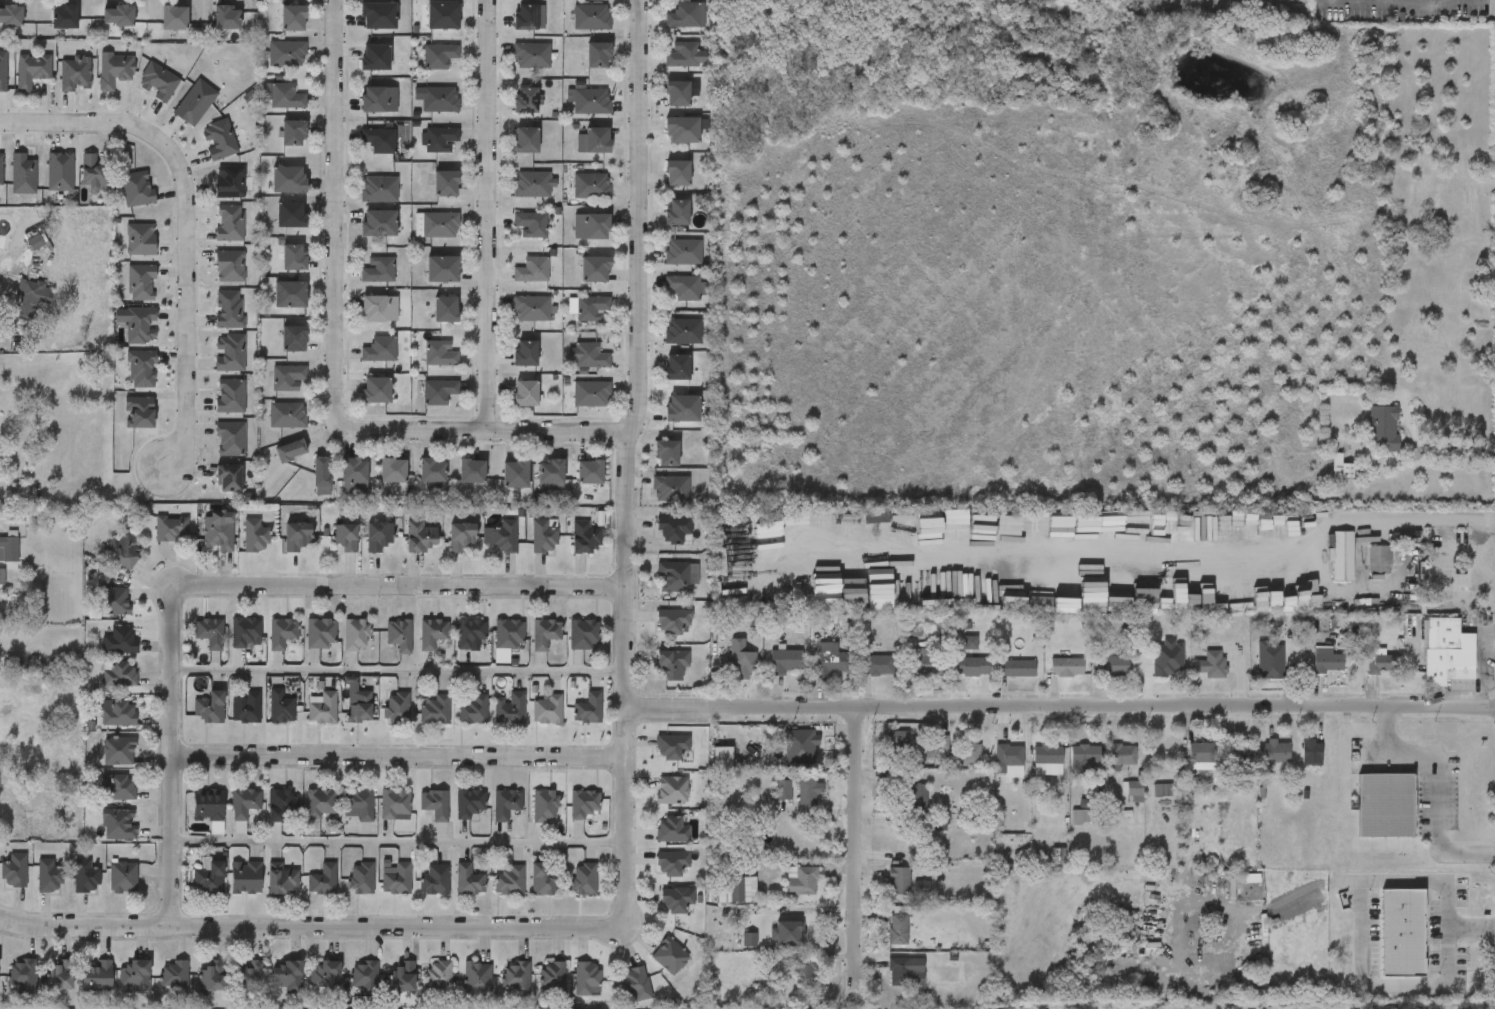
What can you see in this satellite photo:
building: (1414, 0)
building: (668, 1)
building: (10, 15)
building: (117, 15)
building: (378, 15)
building: (685, 15)
building: (64, 16)
building: (442, 16)
building: (524, 16)
building: (591, 16)
building: (173, 17)
building: (226, 17)
building: (292, 18)
building: (3, 27)
building: (363, 27)
building: (670, 27)
building: (103, 28)
building: (427, 28)
building: (49, 29)
building: (575, 29)
building: (159, 30)
building: (210, 30)
building: (277, 30)
building: (286, 53)
building: (438, 55)
building: (531, 55)
building: (597, 55)
building: (685, 55)
building: (375, 57)
building: (270, 66)
building: (582, 67)
building: (669, 67)
building: (423, 68)
building: (516, 68)
building: (31, 69)
building: (114, 69)
building: (359, 70)
building: (99, 82)
building: (16, 83)
building: (60, 85)
building: (677, 94)
building: (142, 95)
building: (285, 96)
building: (378, 99)
building: (439, 99)
building: (525, 100)
building: (590, 101)
building: (661, 106)
building: (268, 108)
building: (421, 111)
building: (363, 112)
building: (510, 113)
building: (573, 113)
building: (179, 115)
building: (681, 130)
building: (293, 133)
building: (439, 139)
building: (378, 140)
building: (525, 140)
building: (597, 140)
building: (666, 142)
building: (277, 145)
building: (423, 151)
building: (204, 152)
building: (363, 152)
building: (510, 152)
building: (577, 153)
building: (91, 171)
building: (677, 173)
building: (287, 179)
building: (446, 183)
building: (44, 184)
building: (531, 184)
building: (591, 185)
building: (661, 185)
building: (9, 187)
building: (77, 188)
building: (379, 189)
building: (272, 192)
building: (215, 194)
building: (430, 196)
building: (517, 196)
building: (575, 198)
building: (121, 202)
building: (363, 202)
building: (676, 212)
building: (1418, 212)
road: (335, 214)
building: (290, 215)
road: (488, 215)
building: (378, 223)
building: (530, 224)
building: (661, 224)
building: (440, 225)
building: (591, 226)
road: (191, 227)
building: (275, 227)
building: (214, 236)
building: (363, 236)
building: (515, 236)
building: (424, 237)
building: (575, 239)
building: (125, 252)
building: (682, 252)
building: (293, 257)
building: (667, 264)
building: (278, 269)
building: (442, 269)
building: (595, 269)
building: (377, 270)
building: (532, 270)
building: (214, 278)
building: (426, 281)
building: (578, 281)
building: (363, 282)
building: (516, 282)
building: (682, 287)
building: (125, 294)
building: (289, 294)
building: (31, 296)
building: (670, 300)
building: (274, 306)
building: (378, 308)
building: (531, 308)
building: (591, 308)
building: (445, 309)
building: (516, 320)
building: (576, 320)
building: (213, 321)
building: (363, 321)
building: (430, 321)
building: (683, 331)
building: (124, 337)
building: (293, 339)
building: (667, 343)
building: (379, 349)
building: (277, 350)
building: (440, 353)
building: (525, 353)
building: (586, 355)
building: (364, 362)
building: (214, 365)
building: (509, 365)
building: (424, 366)
building: (676, 367)
building: (571, 369)
building: (287, 377)
building: (661, 379)
building: (126, 381)
building: (272, 390)
building: (375, 390)
building: (438, 391)
building: (591, 393)
building: (525, 394)
building: (360, 402)
building: (423, 404)
building: (510, 405)
building: (575, 406)
building: (215, 408)
building: (681, 408)
building: (287, 415)
building: (666, 420)
building: (125, 424)
building: (272, 427)
building: (1383, 427)
road: (483, 429)
building: (1367, 439)
building: (214, 451)
building: (290, 451)
building: (666, 453)
building: (275, 463)
building: (650, 465)
building: (1340, 467)
building: (392, 471)
building: (431, 471)
building: (471, 471)
building: (589, 472)
building: (321, 473)
building: (515, 473)
building: (550, 473)
building: (354, 476)
building: (1324, 479)
building: (377, 482)
building: (416, 482)
building: (456, 483)
building: (574, 484)
building: (500, 486)
building: (338, 487)
building: (535, 487)
building: (306, 488)
building: (518, 488)
building: (669, 489)
building: (210, 490)
building: (652, 500)
building: (6, 501)
building: (171, 527)
building: (674, 529)
building: (217, 533)
building: (463, 536)
building: (503, 536)
building: (544, 536)
building: (255, 537)
building: (296, 537)
building: (344, 537)
building: (378, 537)
building: (419, 537)
building: (585, 537)
road: (1449, 539)
building: (155, 540)
building: (658, 540)
road: (1477, 541)
building: (1120, 542)
building: (203, 543)
building: (446, 547)
building: (239, 548)
building: (281, 548)
building: (362, 548)
building: (486, 548)
building: (527, 548)
building: (122, 549)
building: (404, 549)
building: (569, 549)
building: (8, 550)
building: (329, 550)
road: (1131, 550)
building: (1342, 556)
building: (1378, 560)
building: (108, 562)
building: (1326, 568)
building: (1362, 572)
building: (677, 576)
building: (1, 577)
road: (398, 587)
building: (661, 588)
building: (1161, 591)
building: (1196, 598)
building: (113, 601)
building: (1175, 608)
building: (100, 613)
building: (673, 619)
building: (244, 631)
building: (469, 631)
building: (657, 632)
building: (209, 633)
building: (281, 633)
building: (432, 633)
building: (321, 634)
building: (509, 634)
building: (545, 634)
building: (583, 634)
building: (355, 635)
building: (399, 635)
building: (118, 641)
building: (230, 644)
building: (454, 644)
building: (194, 645)
building: (266, 645)
building: (305, 645)
building: (416, 645)
building: (340, 646)
building: (493, 646)
building: (529, 646)
building: (567, 646)
building: (383, 647)
building: (104, 653)
building: (830, 659)
building: (741, 661)
building: (785, 661)
building: (1117, 661)
building: (1329, 663)
building: (1431, 663)
building: (671, 664)
building: (930, 664)
building: (1211, 664)
building: (879, 665)
building: (1383, 665)
building: (972, 666)
building: (1067, 667)
building: (1017, 668)
road: (396, 671)
building: (813, 671)
building: (1253, 672)
building: (1309, 672)
building: (769, 673)
building: (912, 673)
building: (1364, 673)
building: (119, 674)
building: (656, 675)
building: (1097, 676)
building: (1195, 676)
building: (863, 677)
building: (956, 678)
building: (1050, 679)
building: (1001, 680)
building: (104, 686)
building: (5, 704)
building: (281, 707)
road: (1060, 707)
building: (209, 708)
building: (246, 708)
building: (360, 708)
building: (397, 708)
building: (509, 708)
building: (322, 709)
building: (546, 709)
building: (588, 709)
building: (434, 710)
building: (472, 710)
building: (117, 713)
building: (381, 718)
building: (194, 719)
building: (265, 719)
building: (344, 719)
building: (307, 720)
building: (494, 720)
building: (572, 720)
building: (232, 721)
building: (419, 722)
building: (457, 722)
building: (532, 722)
road: (36, 725)
building: (103, 725)
building: (799, 745)
building: (671, 746)
building: (897, 746)
building: (882, 750)
building: (1312, 751)
building: (116, 752)
building: (1238, 752)
building: (1277, 752)
building: (969, 753)
building: (925, 754)
building: (1122, 754)
building: (1203, 754)
road: (397, 755)
building: (1010, 755)
building: (1048, 755)
road: (168, 757)
building: (1085, 757)
building: (656, 758)
building: (722, 758)
building: (783, 758)
building: (103, 762)
building: (1224, 764)
building: (1259, 764)
building: (1295, 765)
building: (953, 766)
building: (1030, 766)
building: (991, 768)
building: (1105, 768)
building: (1184, 768)
building: (706, 769)
building: (1068, 769)
road: (626, 771)
road: (1439, 785)
building: (119, 786)
building: (1135, 788)
building: (671, 790)
building: (783, 790)
building: (1162, 790)
building: (809, 792)
building: (907, 795)
building: (106, 798)
building: (1115, 800)
building: (656, 801)
building: (767, 802)
building: (792, 802)
building: (1145, 802)
building: (244, 803)
building: (468, 803)
building: (320, 804)
building: (434, 804)
building: (505, 804)
building: (584, 804)
building: (207, 805)
building: (281, 805)
building: (358, 805)
building: (395, 805)
building: (544, 806)
building: (900, 807)
building: (229, 815)
building: (304, 815)
building: (454, 815)
building: (568, 815)
building: (192, 816)
building: (265, 816)
building: (419, 816)
building: (490, 816)
building: (1369, 816)
building: (344, 817)
building: (379, 817)
building: (528, 817)
building: (117, 824)
building: (1063, 828)
building: (670, 829)
building: (102, 836)
building: (902, 839)
road: (396, 841)
building: (656, 842)
road: (855, 851)
building: (672, 862)
building: (13, 871)
building: (655, 874)
building: (49, 876)
building: (85, 876)
building: (122, 877)
building: (245, 877)
building: (361, 878)
building: (208, 879)
building: (281, 879)
building: (321, 879)
building: (434, 879)
building: (544, 879)
building: (584, 879)
building: (396, 880)
building: (468, 880)
building: (509, 880)
building: (803, 880)
building: (899, 881)
building: (33, 888)
building: (70, 889)
building: (108, 889)
building: (194, 889)
building: (230, 889)
building: (266, 890)
building: (346, 890)
building: (380, 890)
building: (307, 891)
building: (527, 891)
building: (568, 891)
building: (419, 892)
building: (453, 892)
building: (883, 892)
building: (494, 893)
building: (786, 893)
building: (676, 898)
building: (905, 899)
building: (723, 903)
building: (660, 911)
road: (1471, 923)
building: (899, 929)
building: (882, 941)
building: (1385, 944)
building: (670, 956)
building: (654, 968)
building: (805, 970)
building: (899, 971)
building: (134, 974)
building: (173, 974)
building: (288, 974)
building: (324, 974)
building: (364, 974)
building: (22, 975)
building: (59, 975)
building: (96, 975)
building: (552, 975)
building: (211, 976)
building: (402, 976)
building: (249, 977)
building: (476, 977)
building: (516, 977)
building: (586, 977)
building: (438, 978)
building: (790, 981)
building: (882, 983)
road: (1364, 983)
building: (637, 984)
building: (10, 986)
building: (234, 986)
building: (120, 987)
building: (272, 987)
building: (309, 987)
building: (422, 988)
building: (501, 988)
building: (43, 989)
building: (82, 989)
building: (158, 989)
building: (386, 989)
building: (461, 989)
building: (536, 989)
building: (570, 989)
building: (349, 990)
building: (196, 993)
building: (620, 993)

